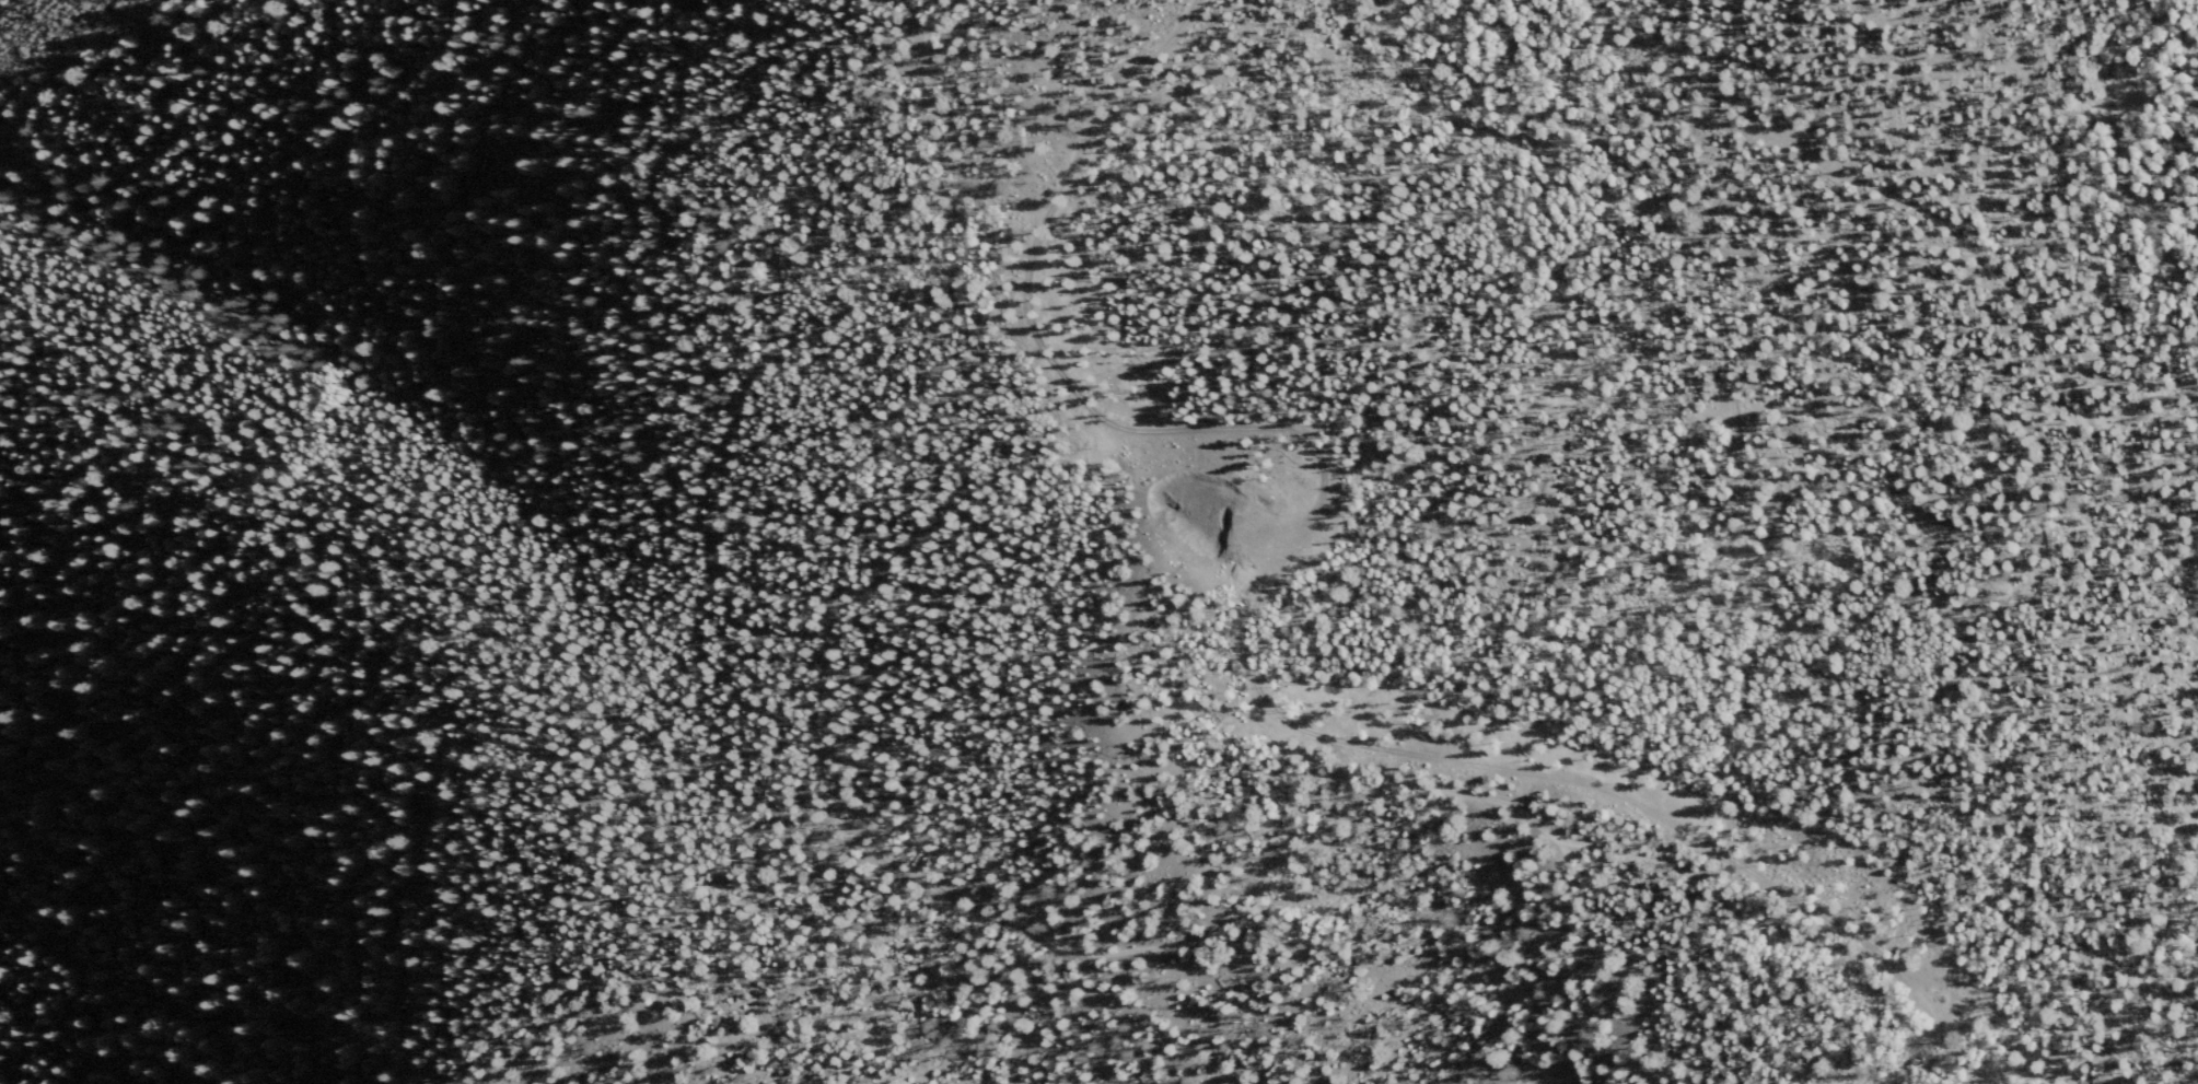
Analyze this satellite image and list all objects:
road: (1862, 178)
road: (1252, 636)
road: (1003, 919)

